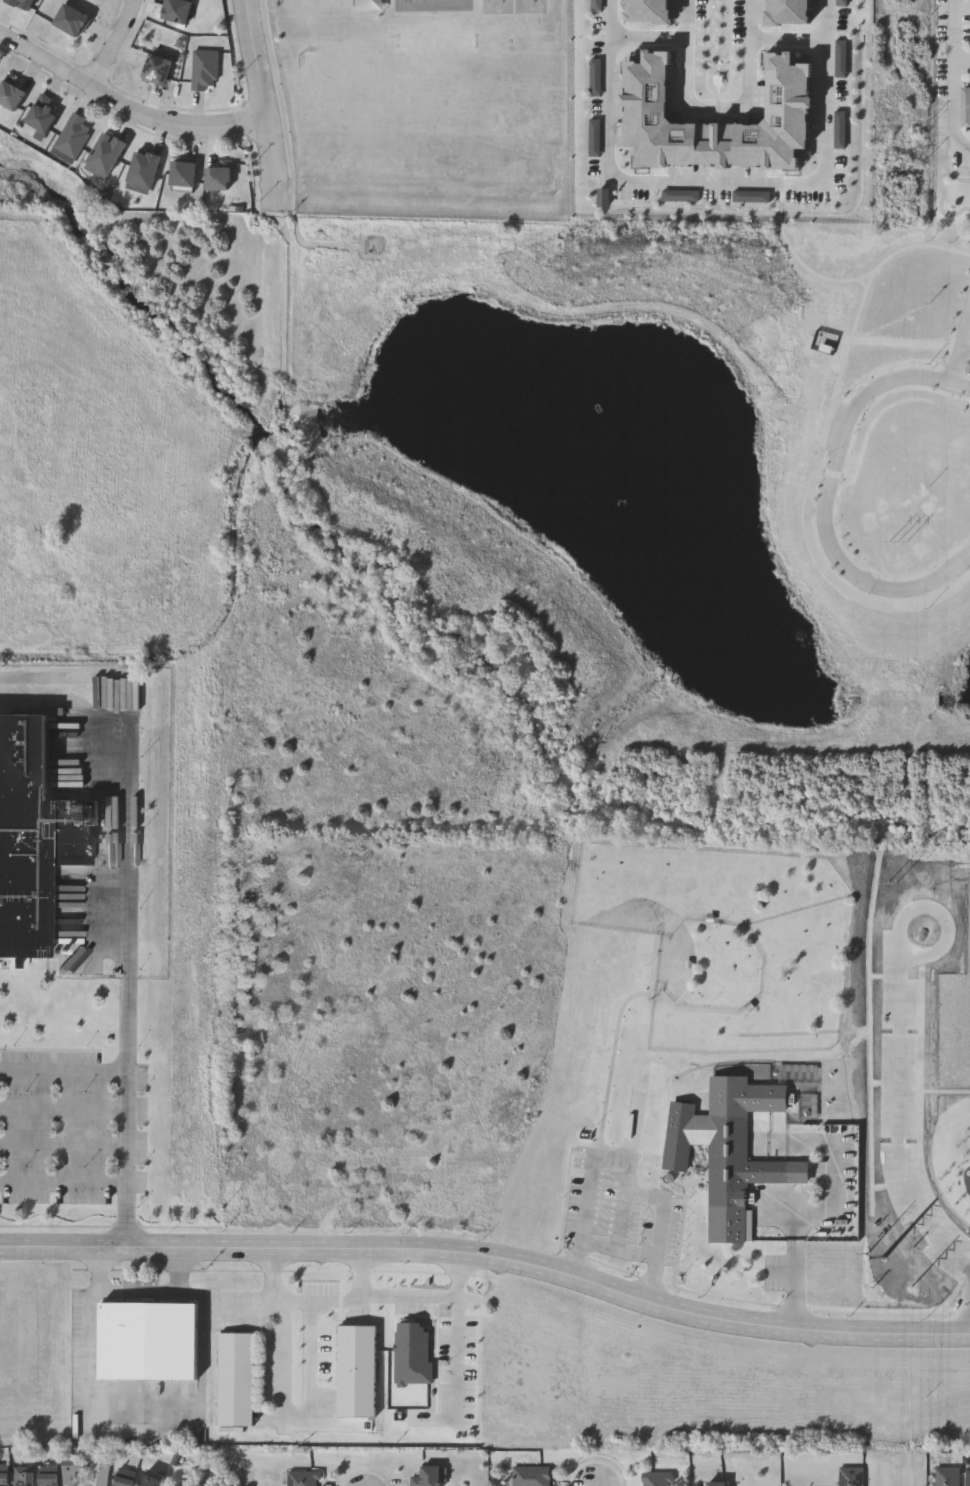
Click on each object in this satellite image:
building: (22, 4)
building: (499, 7)
building: (177, 11)
building: (649, 11)
building: (793, 14)
building: (72, 20)
road: (649, 34)
road: (787, 35)
road: (114, 42)
building: (157, 69)
building: (204, 70)
road: (953, 76)
building: (11, 94)
building: (789, 94)
road: (268, 104)
road: (719, 105)
road: (127, 106)
building: (43, 113)
building: (74, 135)
building: (105, 155)
building: (144, 168)
building: (183, 173)
building: (218, 178)
road: (718, 179)
road: (961, 352)
road: (827, 495)
road: (131, 814)
building: (32, 834)
road: (655, 969)
road: (613, 1064)
road: (127, 1091)
road: (63, 1106)
road: (63, 1146)
building: (717, 1153)
road: (628, 1178)
road: (63, 1182)
road: (831, 1201)
parking lot: (623, 1217)
road: (625, 1225)
road: (127, 1247)
road: (275, 1247)
road: (364, 1248)
road: (489, 1249)
road: (461, 1253)
road: (624, 1254)
road: (489, 1264)
road: (363, 1274)
power tower: (899, 1278)
road: (579, 1279)
road: (796, 1281)
road: (139, 1293)
road: (383, 1294)
road: (653, 1303)
road: (247, 1308)
road: (794, 1328)
road: (969, 1333)
building: (147, 1340)
road: (455, 1356)
building: (234, 1377)
road: (281, 1412)
road: (153, 1423)
building: (71, 1473)
building: (96, 1474)
building: (849, 1476)
building: (946, 1476)
building: (967, 1476)
building: (427, 1477)
building: (534, 1477)
building: (23, 1478)
building: (124, 1478)
building: (301, 1478)
building: (4, 1479)
building: (150, 1479)
building: (655, 1479)
building: (46, 1480)
building: (715, 1484)

